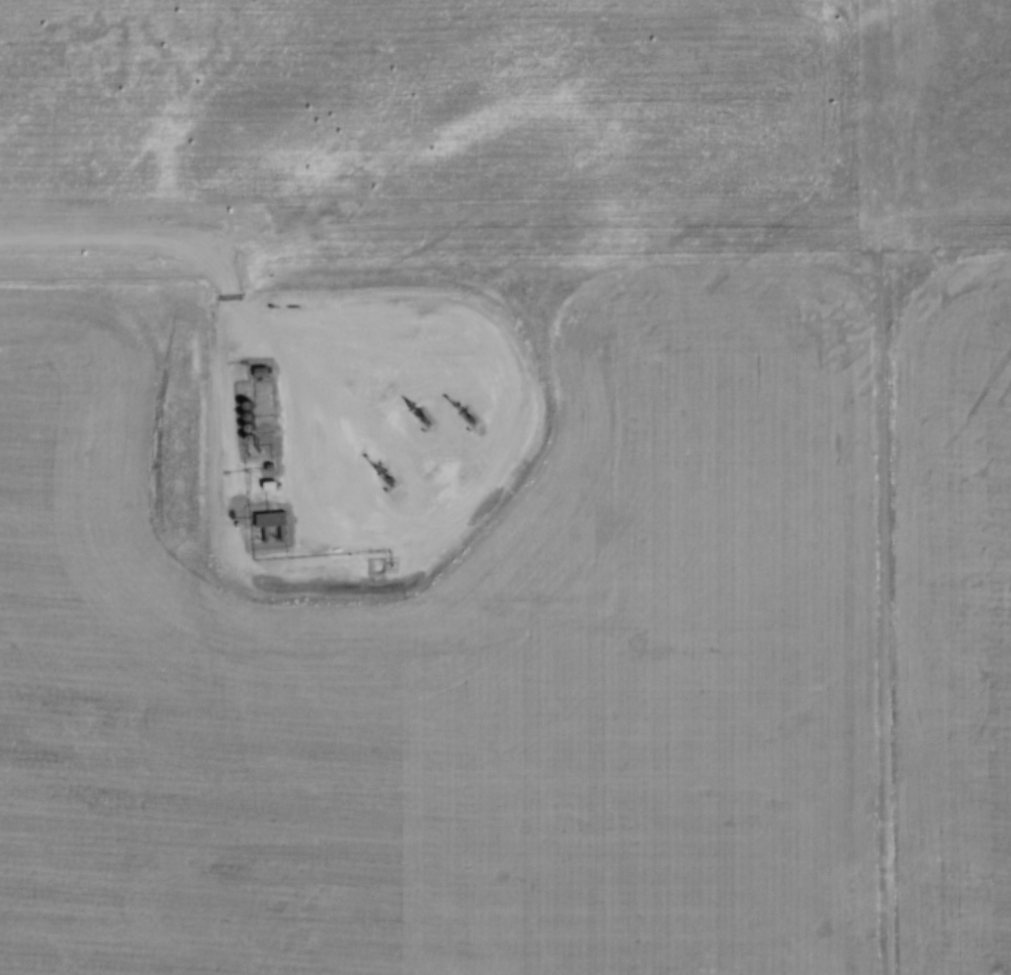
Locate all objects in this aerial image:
road: (880, 596)

